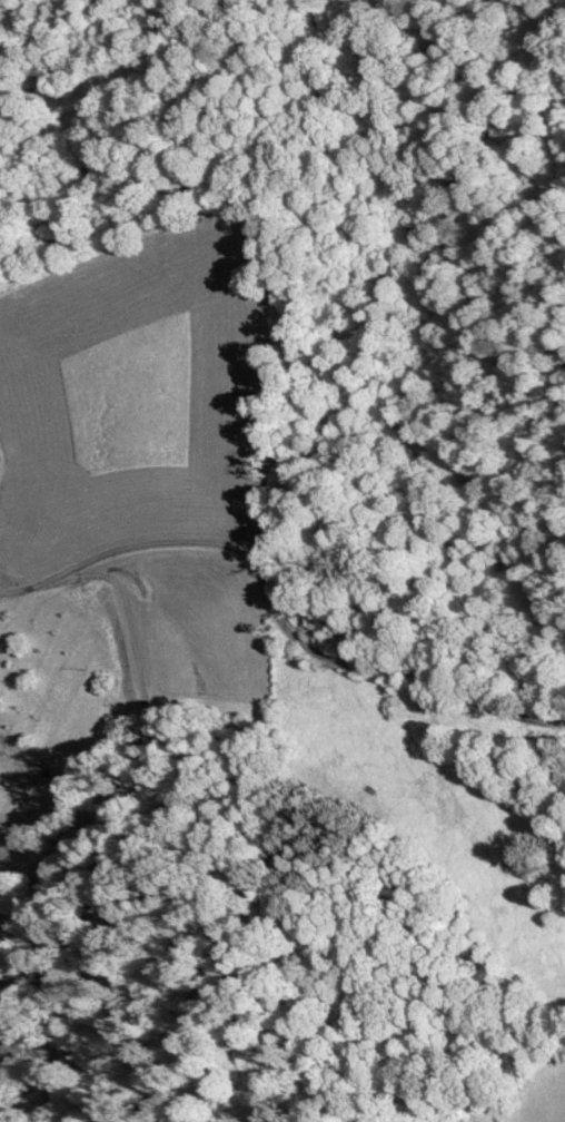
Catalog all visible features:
road: (277, 654)

